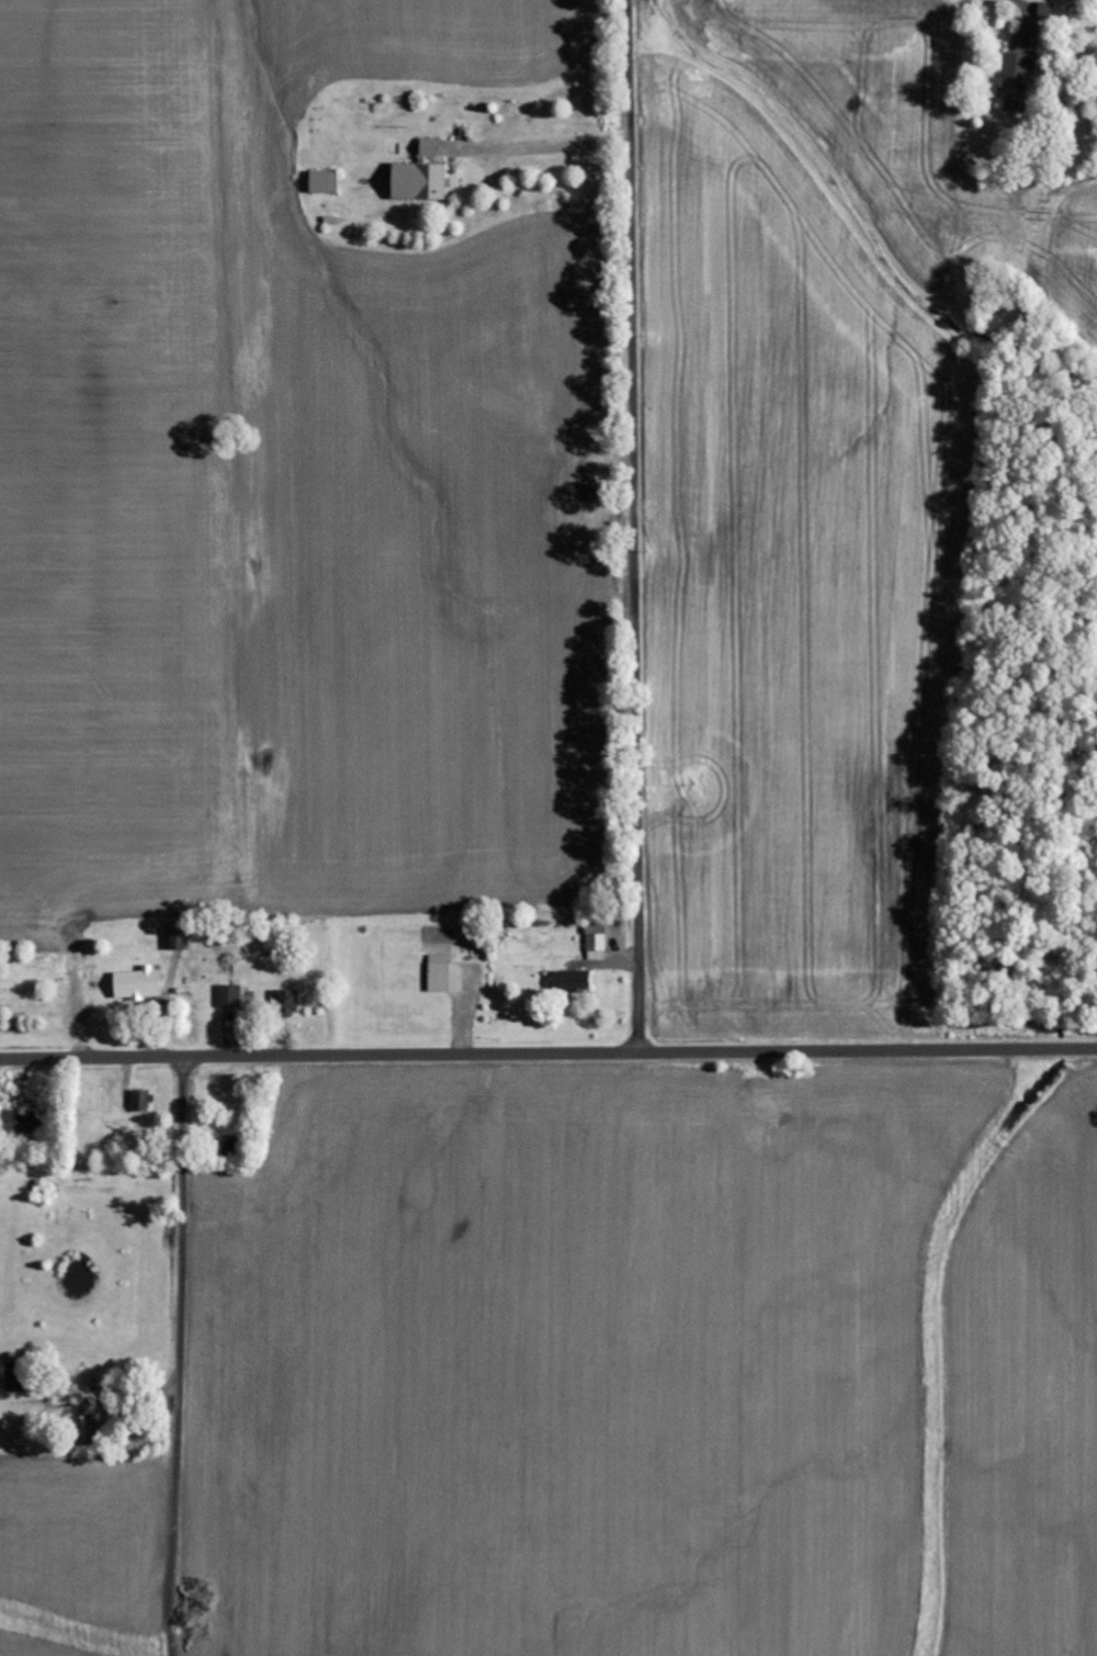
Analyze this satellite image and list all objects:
building: (1048, 11)
building: (1017, 82)
road: (808, 100)
building: (431, 148)
building: (325, 182)
building: (421, 182)
road: (634, 526)
building: (179, 938)
building: (597, 942)
building: (441, 973)
building: (573, 982)
building: (140, 984)
building: (231, 996)
building: (287, 1003)
road: (547, 1052)
building: (144, 1101)
building: (23, 1122)
road: (179, 1356)
building: (16, 1377)

